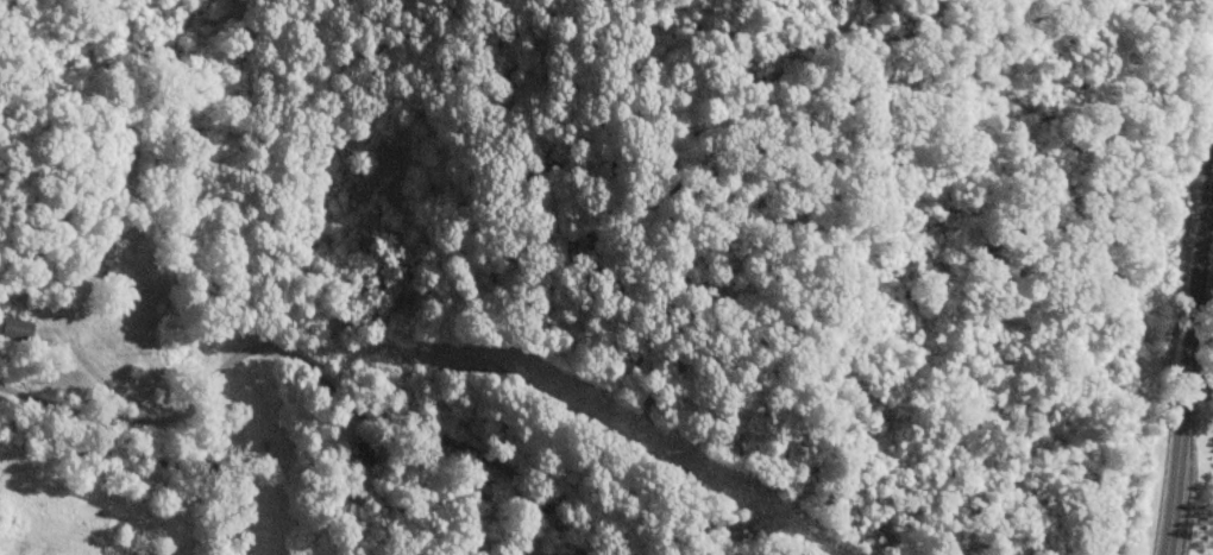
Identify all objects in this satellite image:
building: (18, 326)
road: (1184, 345)
road: (284, 364)
road: (92, 385)
building: (358, 452)

